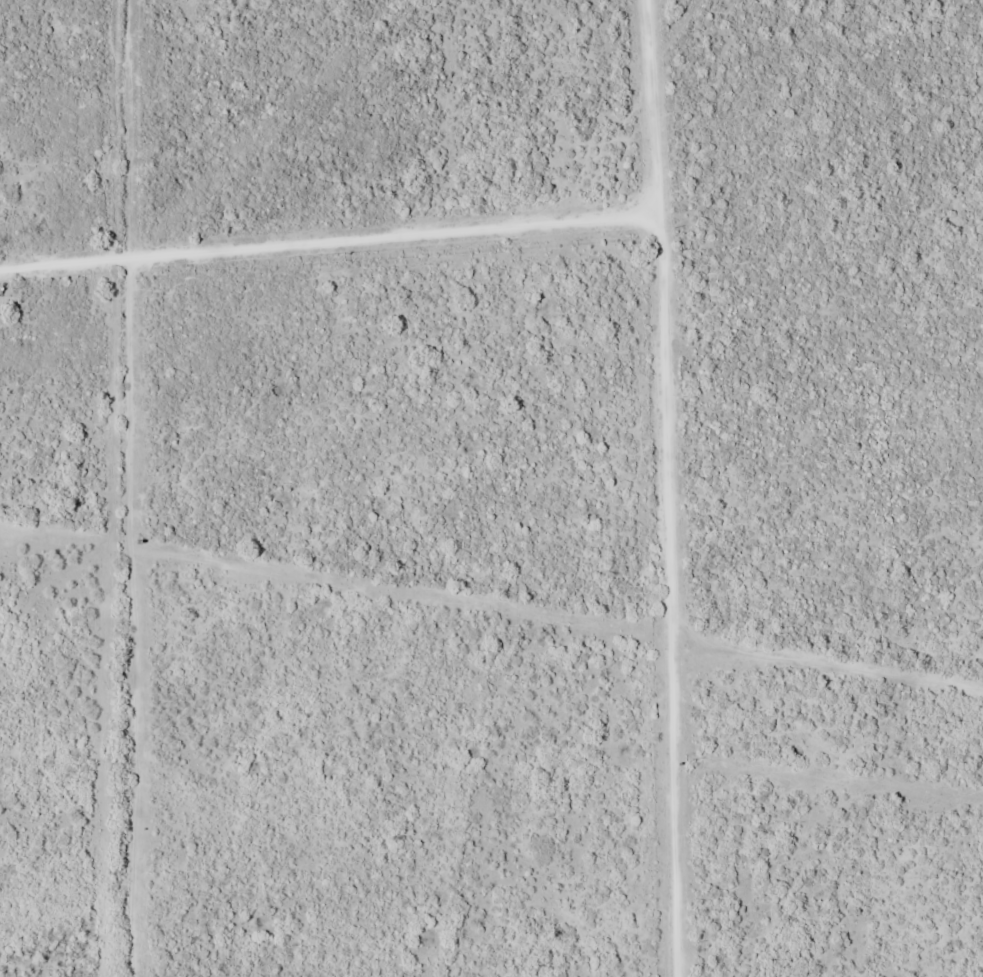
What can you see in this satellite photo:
road: (665, 488)

